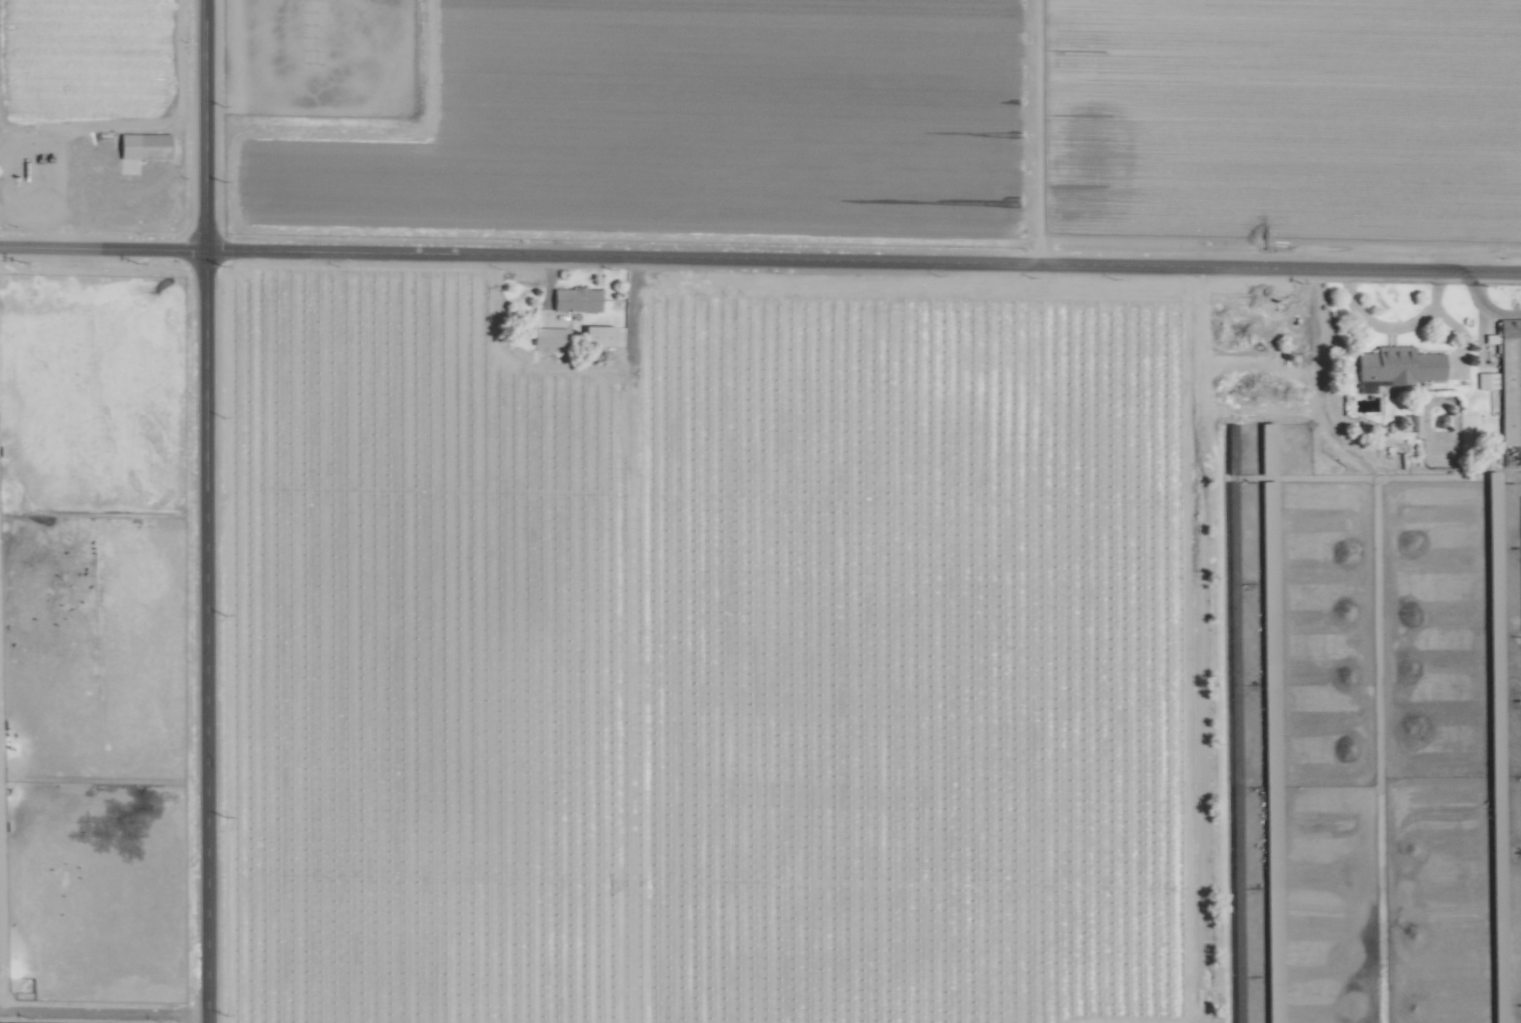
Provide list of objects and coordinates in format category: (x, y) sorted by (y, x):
crop: (314, 71)
building: (142, 147)
road: (760, 262)
building: (574, 299)
road: (1391, 327)
road: (1458, 331)
building: (595, 335)
building: (547, 336)
building: (1398, 365)
road: (1317, 371)
building: (1507, 380)
road: (206, 511)
crop: (760, 511)
crop: (1357, 641)
crop: (1, 762)
road: (99, 1012)

